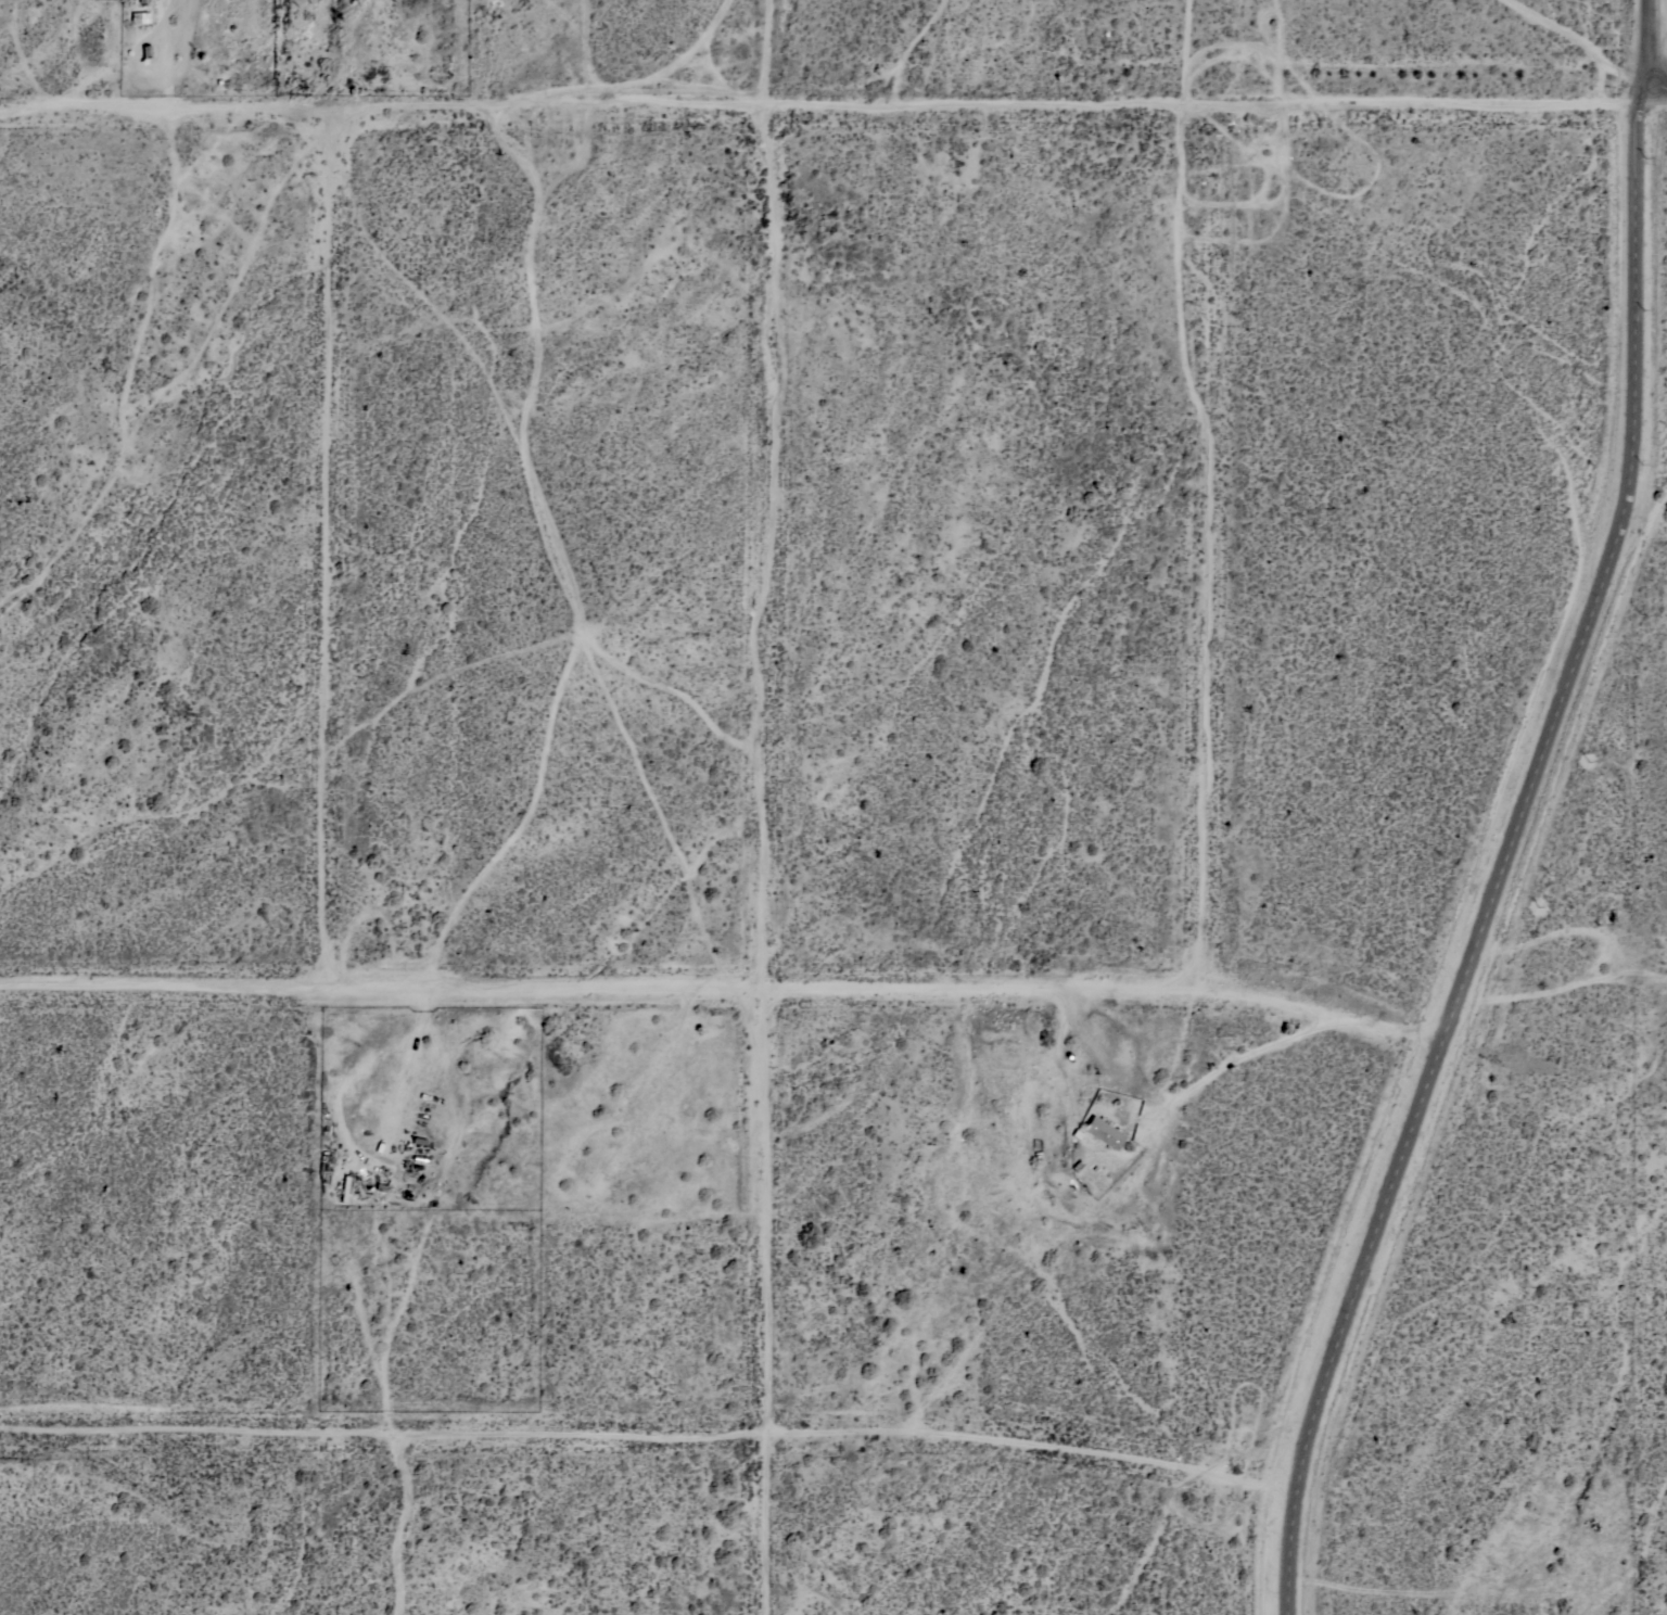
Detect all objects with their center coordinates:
building: (142, 1)
building: (139, 17)
road: (1652, 50)
road: (766, 53)
road: (1653, 98)
road: (819, 106)
road: (1506, 863)
road: (722, 983)
building: (1104, 1132)
road: (649, 1436)

